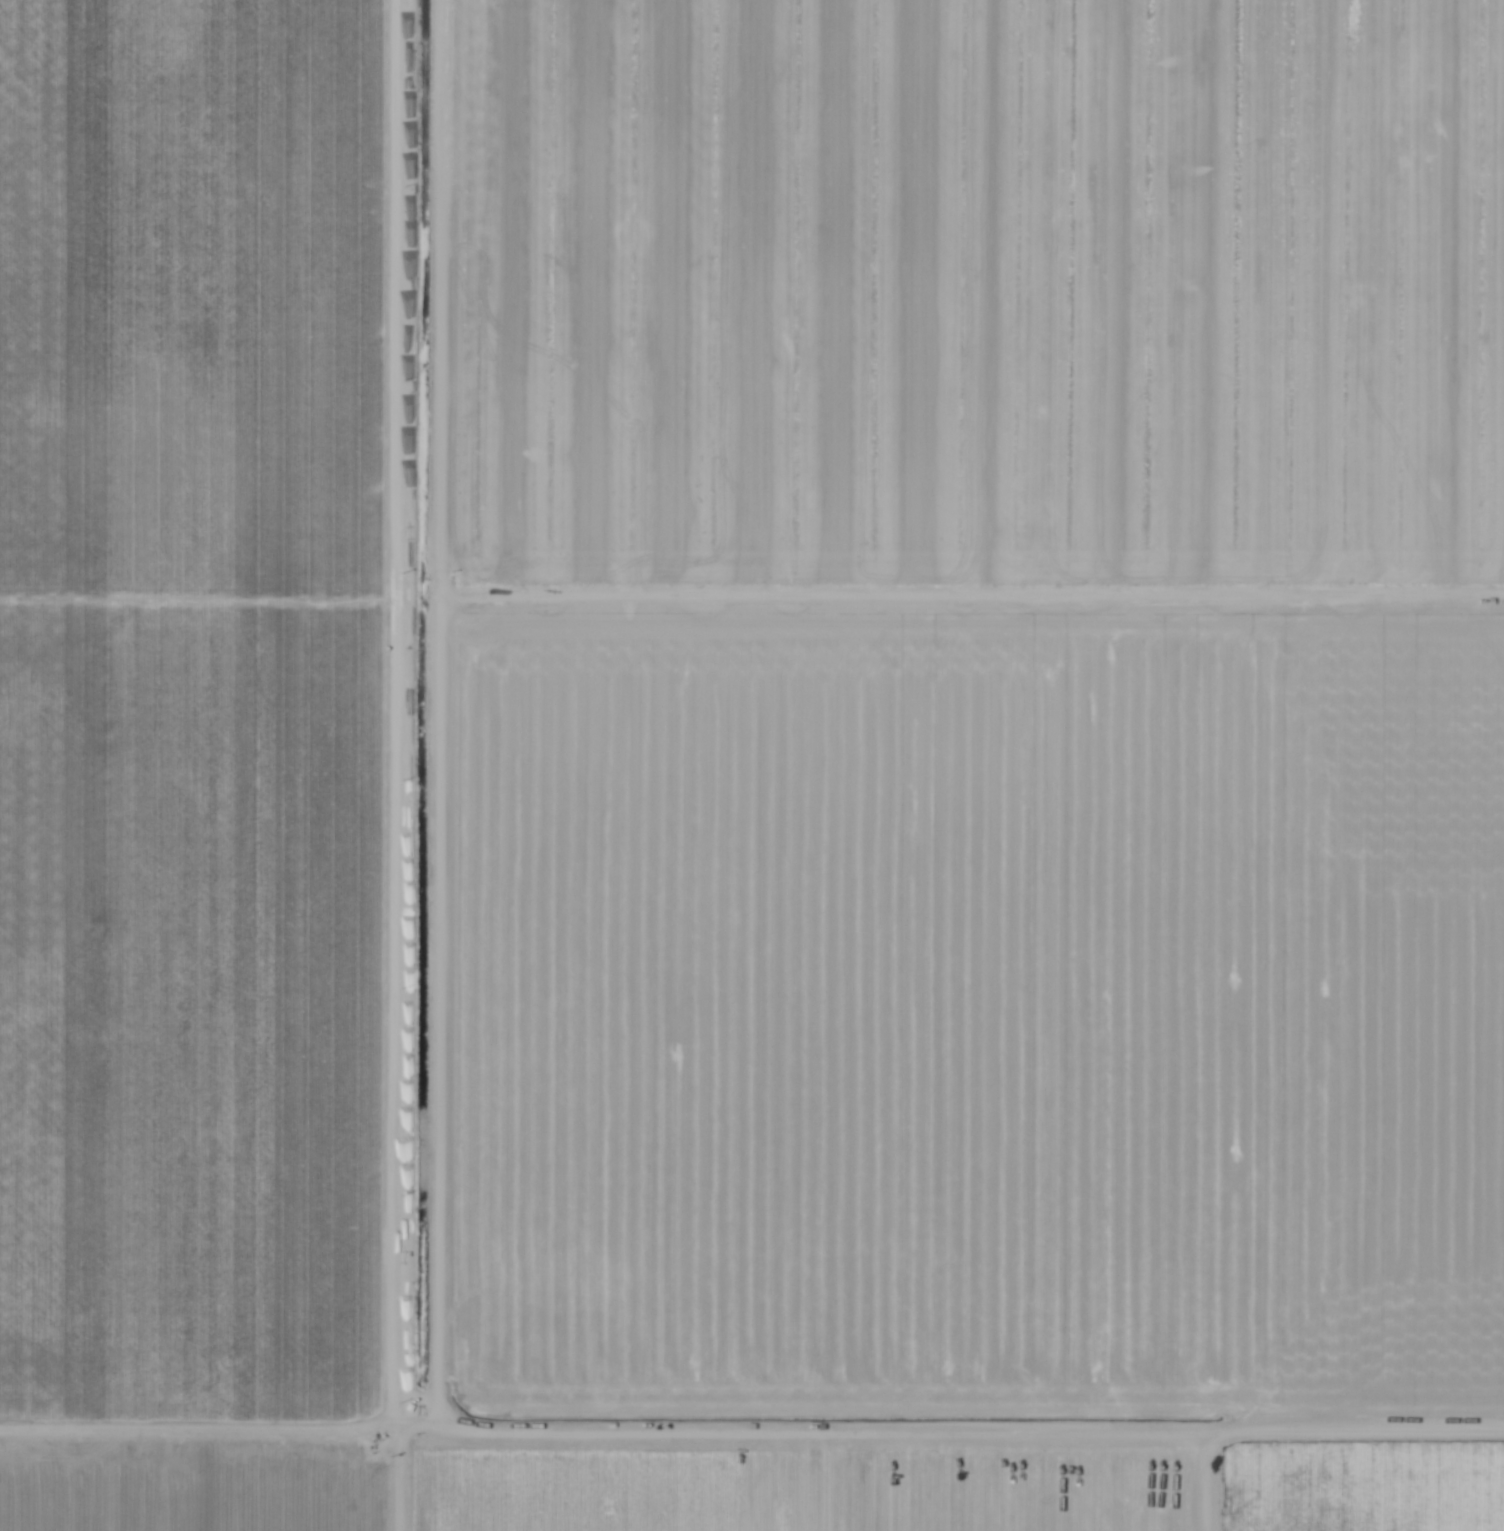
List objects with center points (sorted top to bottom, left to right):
road: (399, 765)
crop: (752, 765)
road: (752, 1418)
road: (1198, 1467)

